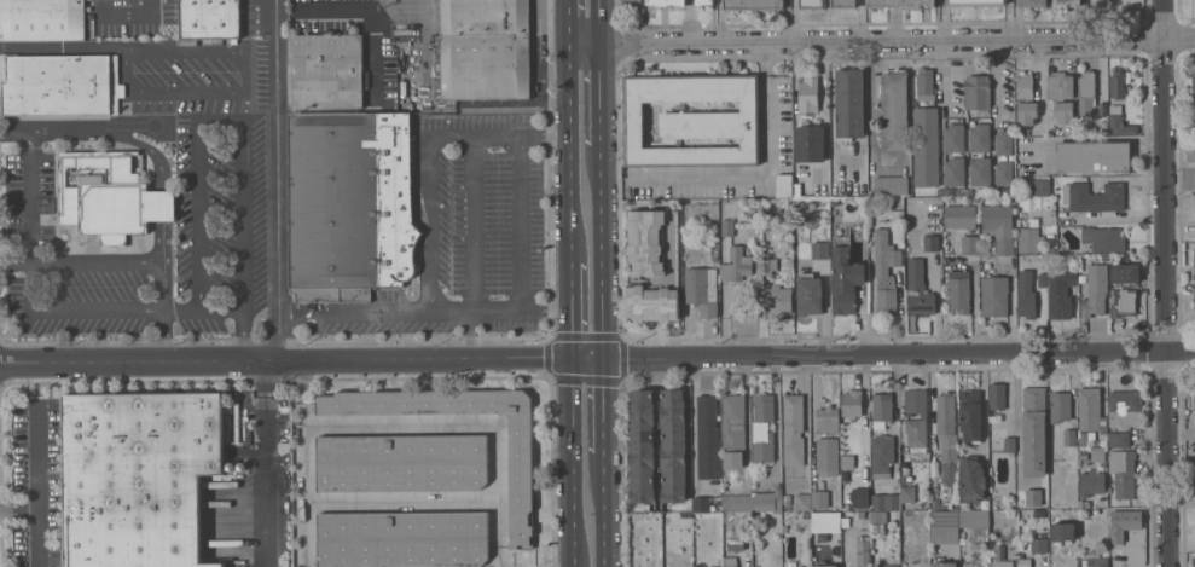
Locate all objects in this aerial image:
building: (632, 0)
building: (1096, 0)
building: (1108, 0)
building: (1110, 0)
building: (666, 2)
building: (704, 2)
building: (975, 2)
building: (1033, 2)
building: (1066, 2)
building: (811, 4)
building: (843, 4)
building: (901, 4)
building: (753, 5)
building: (151, 13)
building: (210, 18)
road: (569, 18)
road: (599, 18)
road: (794, 18)
building: (66, 19)
road: (869, 37)
road: (1182, 37)
road: (63, 47)
building: (485, 48)
road: (538, 68)
building: (325, 70)
road: (553, 70)
road: (942, 73)
road: (997, 76)
building: (59, 83)
building: (924, 85)
building: (1060, 85)
building: (1118, 85)
building: (1025, 86)
building: (1194, 87)
road: (245, 91)
road: (601, 91)
building: (976, 92)
building: (1086, 92)
building: (808, 94)
building: (849, 103)
building: (1115, 109)
building: (320, 110)
building: (894, 110)
building: (1103, 111)
building: (1027, 112)
building: (1065, 112)
building: (694, 120)
building: (1120, 126)
road: (98, 129)
road: (242, 133)
road: (451, 138)
building: (953, 138)
building: (979, 138)
building: (1004, 143)
building: (810, 144)
building: (926, 146)
road: (570, 150)
building: (1190, 155)
building: (1094, 156)
building: (953, 172)
building: (980, 172)
building: (1004, 173)
road: (474, 178)
building: (784, 185)
building: (891, 185)
road: (277, 186)
building: (1040, 187)
building: (797, 190)
building: (939, 191)
building: (955, 191)
building: (968, 191)
building: (979, 191)
building: (988, 191)
building: (1000, 191)
building: (1009, 191)
road: (29, 195)
building: (109, 196)
building: (1094, 197)
building: (834, 202)
building: (760, 203)
building: (350, 204)
building: (785, 204)
road: (161, 206)
building: (897, 214)
building: (959, 216)
building: (996, 219)
building: (1033, 220)
road: (429, 227)
building: (727, 227)
building: (864, 230)
building: (760, 233)
building: (1104, 238)
road: (162, 241)
building: (1031, 241)
building: (646, 242)
building: (930, 243)
building: (970, 244)
building: (1005, 245)
building: (820, 250)
road: (603, 251)
building: (1106, 256)
road: (95, 261)
road: (14, 262)
building: (736, 265)
building: (764, 266)
building: (884, 272)
building: (1126, 273)
building: (845, 277)
building: (1042, 279)
road: (163, 283)
road: (1168, 283)
building: (918, 289)
building: (702, 290)
building: (1096, 290)
building: (1194, 290)
building: (959, 291)
building: (1061, 291)
building: (1026, 294)
building: (810, 296)
building: (994, 296)
building: (1124, 302)
building: (652, 303)
building: (779, 303)
road: (75, 308)
road: (570, 311)
road: (451, 314)
road: (333, 317)
road: (166, 332)
road: (470, 336)
road: (132, 359)
road: (434, 359)
road: (900, 360)
building: (997, 395)
building: (1194, 398)
building: (852, 404)
building: (1060, 406)
building: (1124, 406)
building: (1194, 406)
road: (604, 407)
building: (881, 410)
building: (707, 411)
building: (1091, 411)
building: (969, 416)
building: (916, 420)
building: (826, 421)
road: (470, 426)
building: (762, 428)
building: (946, 428)
building: (793, 429)
building: (733, 430)
building: (862, 430)
building: (1034, 432)
building: (1069, 436)
building: (1119, 439)
building: (1009, 445)
building: (642, 446)
building: (673, 446)
building: (1097, 453)
building: (881, 456)
building: (826, 457)
building: (847, 461)
road: (303, 462)
building: (402, 462)
road: (263, 463)
road: (572, 463)
building: (1123, 473)
building: (139, 476)
building: (971, 479)
building: (521, 481)
building: (1091, 484)
road: (37, 485)
building: (907, 493)
building: (1033, 497)
building: (767, 499)
building: (787, 499)
building: (819, 499)
building: (802, 502)
building: (884, 502)
building: (737, 503)
building: (1083, 503)
building: (700, 504)
building: (944, 504)
building: (859, 505)
road: (19, 508)
road: (604, 510)
building: (1062, 511)
building: (1039, 513)
building: (860, 515)
building: (994, 515)
building: (880, 516)
building: (825, 521)
building: (975, 523)
building: (945, 527)
building: (876, 531)
building: (402, 539)
building: (736, 539)
building: (1038, 545)
building: (863, 551)
building: (775, 555)
building: (1096, 559)
building: (730, 561)
building: (1026, 562)
building: (944, 563)
building: (1002, 563)
building: (823, 565)
building: (968, 565)
building: (887, 566)

